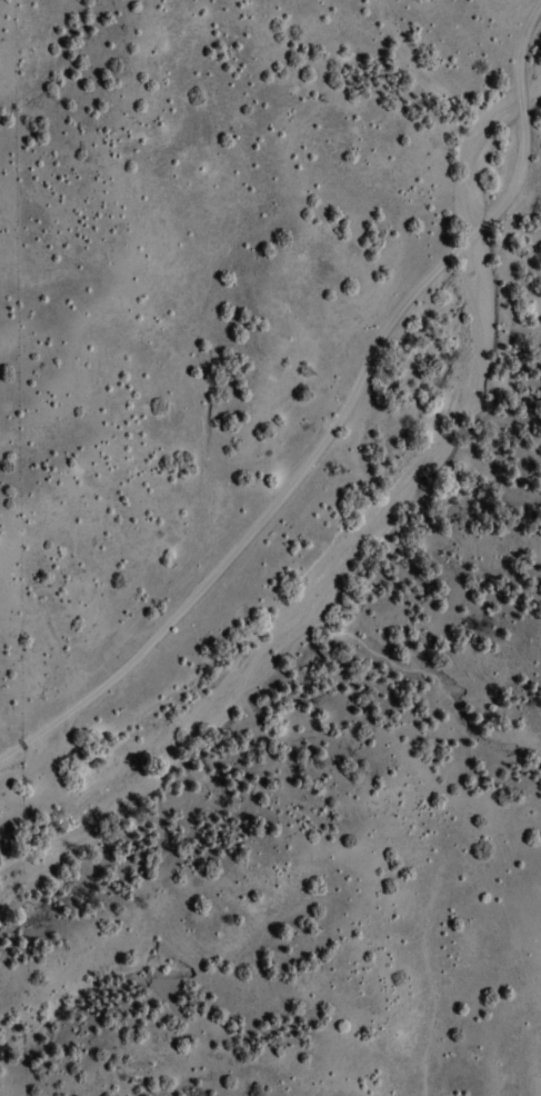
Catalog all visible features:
road: (340, 418)

